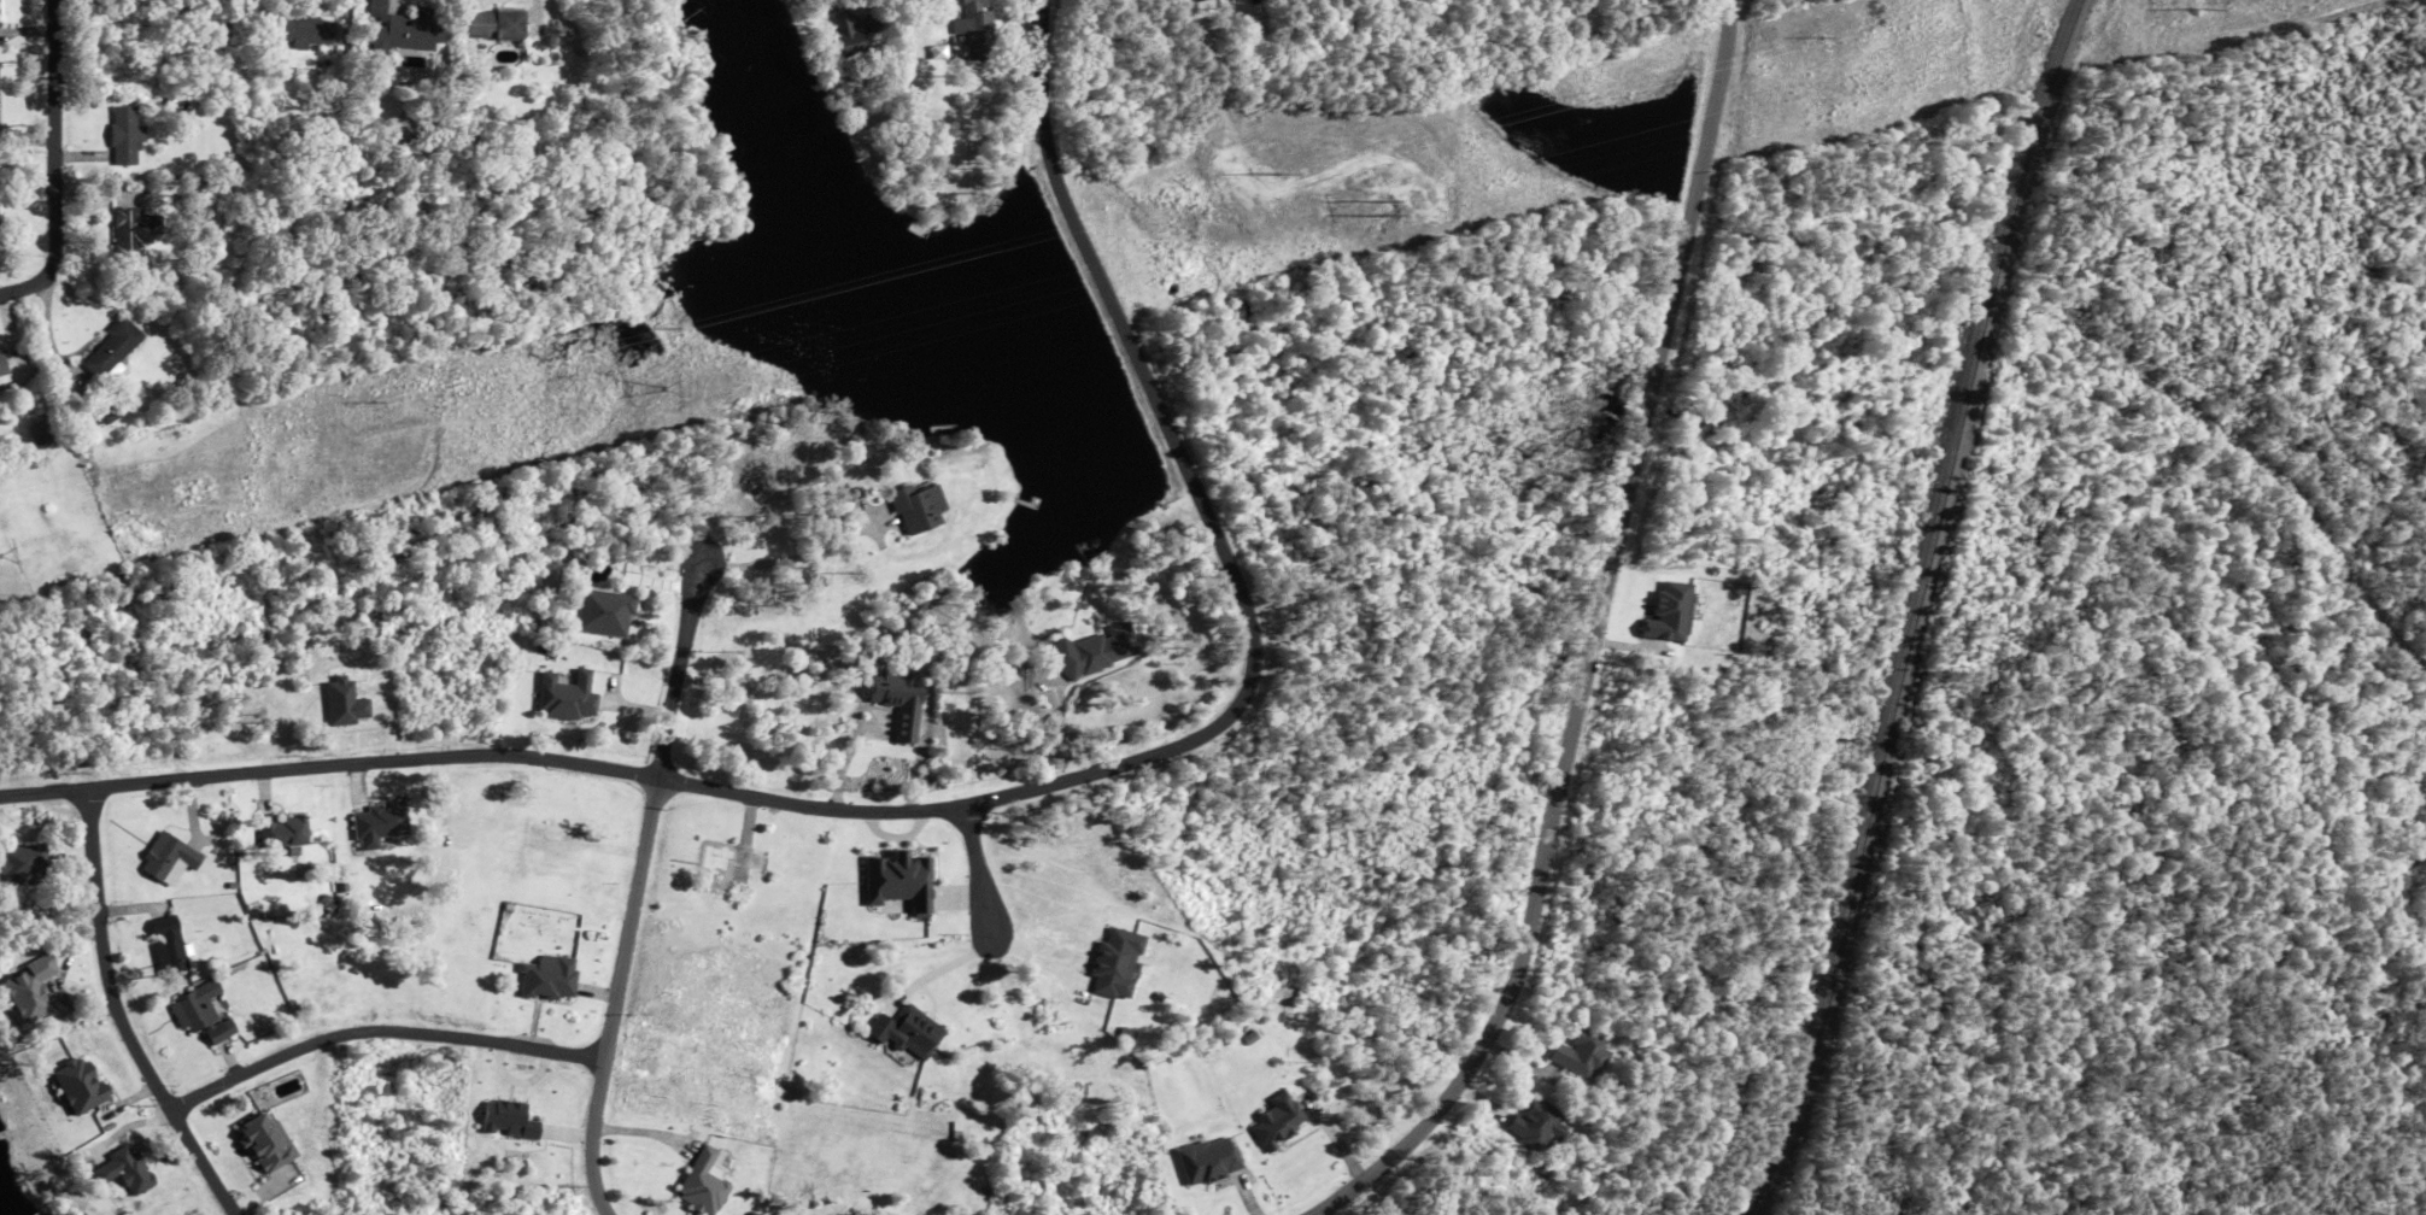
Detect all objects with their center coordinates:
building: (1235, 0)
building: (1194, 1)
power tower: (2199, 4)
building: (492, 25)
building: (297, 28)
building: (974, 30)
building: (408, 33)
building: (846, 39)
building: (902, 99)
building: (128, 141)
road: (59, 165)
power tower: (1416, 200)
building: (129, 237)
building: (113, 350)
building: (4, 369)
power tower: (667, 387)
building: (48, 432)
building: (914, 511)
road: (793, 554)
power tower: (6, 556)
railway: (1916, 607)
building: (605, 614)
building: (1680, 626)
road: (1602, 642)
building: (1096, 651)
building: (567, 697)
building: (901, 700)
road: (1001, 799)
building: (382, 823)
building: (285, 832)
building: (553, 840)
building: (163, 857)
building: (23, 864)
building: (726, 865)
road: (980, 874)
building: (896, 884)
road: (638, 887)
building: (169, 945)
building: (1117, 963)
building: (552, 980)
building: (28, 991)
building: (204, 1015)
road: (121, 1016)
building: (910, 1034)
road: (382, 1035)
building: (1581, 1055)
building: (78, 1085)
building: (1278, 1122)
building: (514, 1123)
building: (1535, 1126)
building: (265, 1141)
building: (1211, 1162)
building: (122, 1170)
building: (702, 1184)

